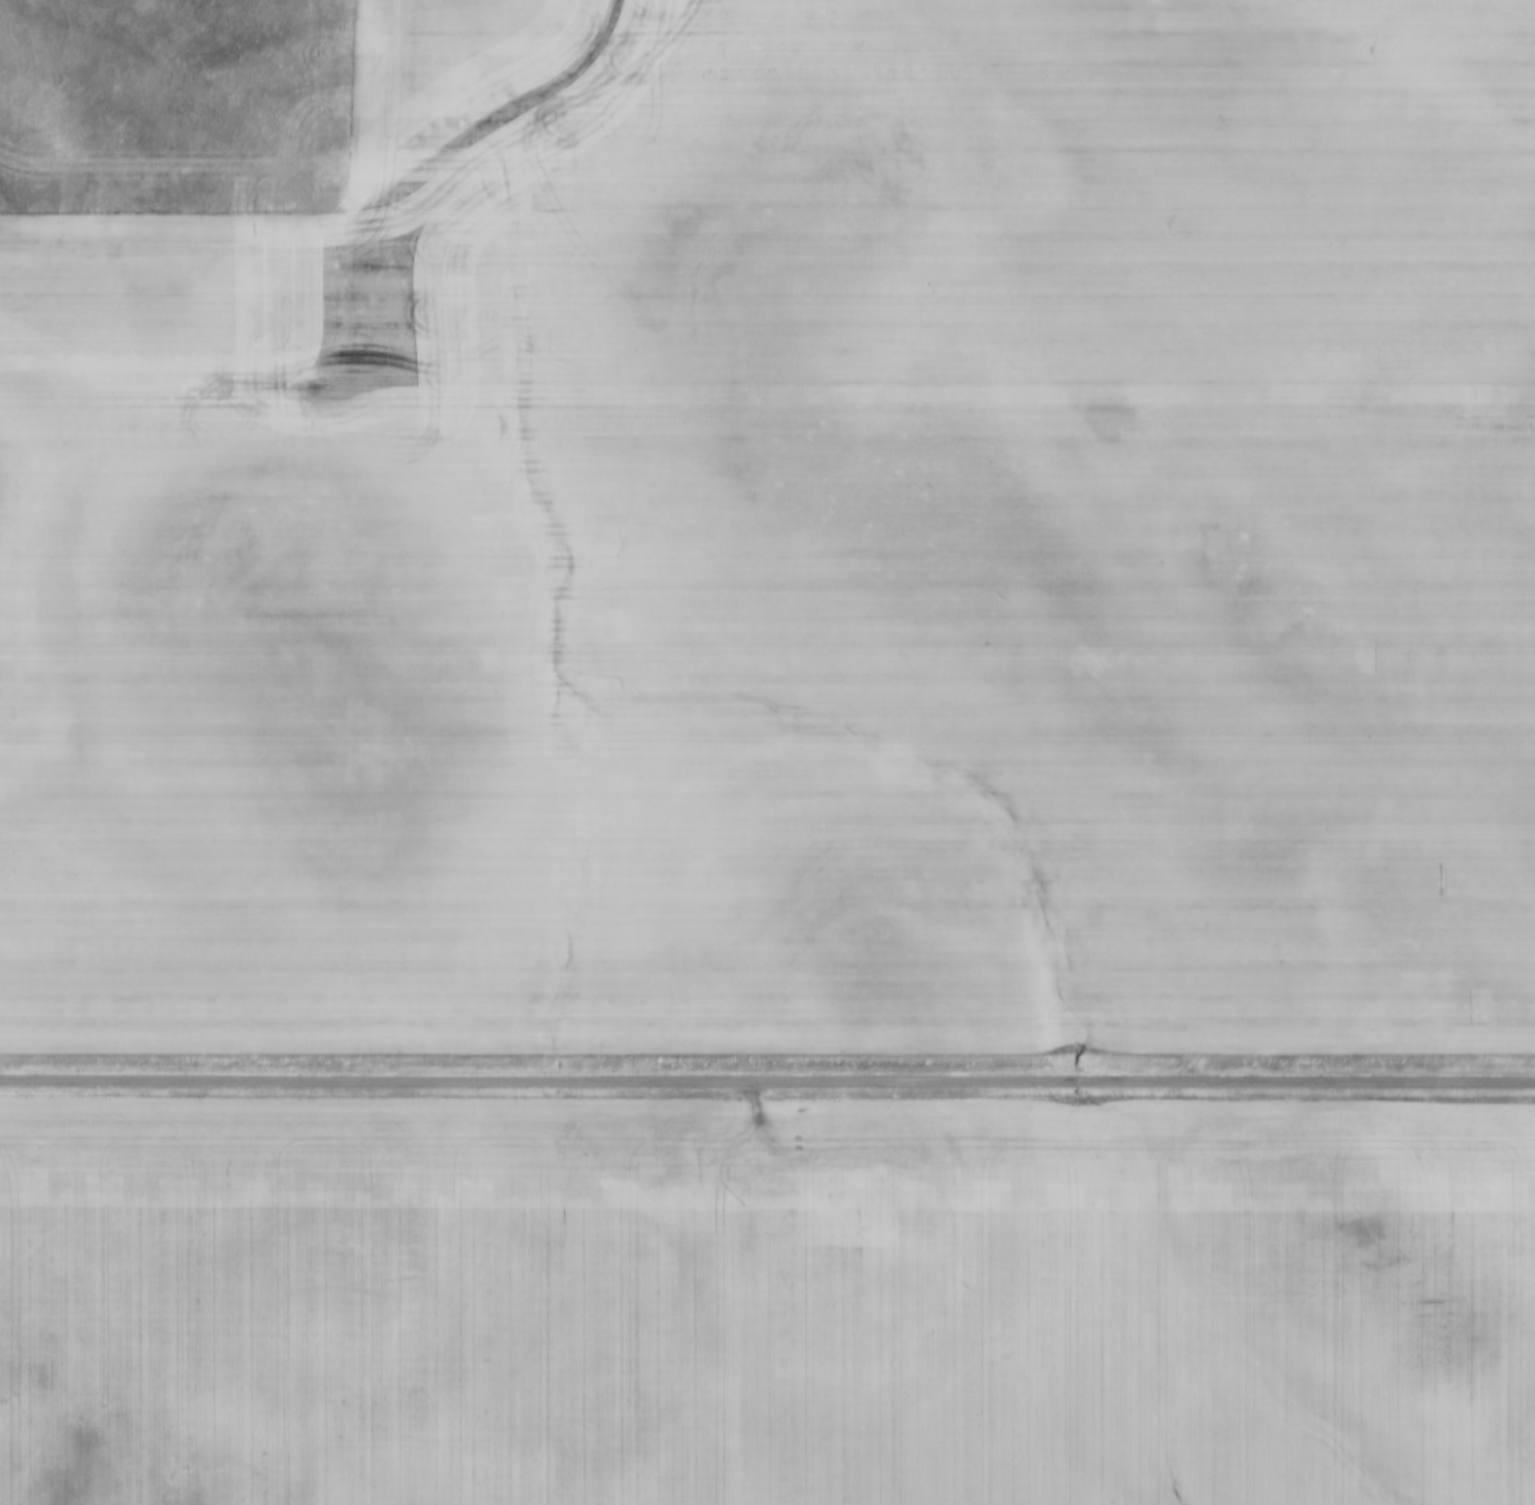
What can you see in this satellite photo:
road: (767, 1080)

